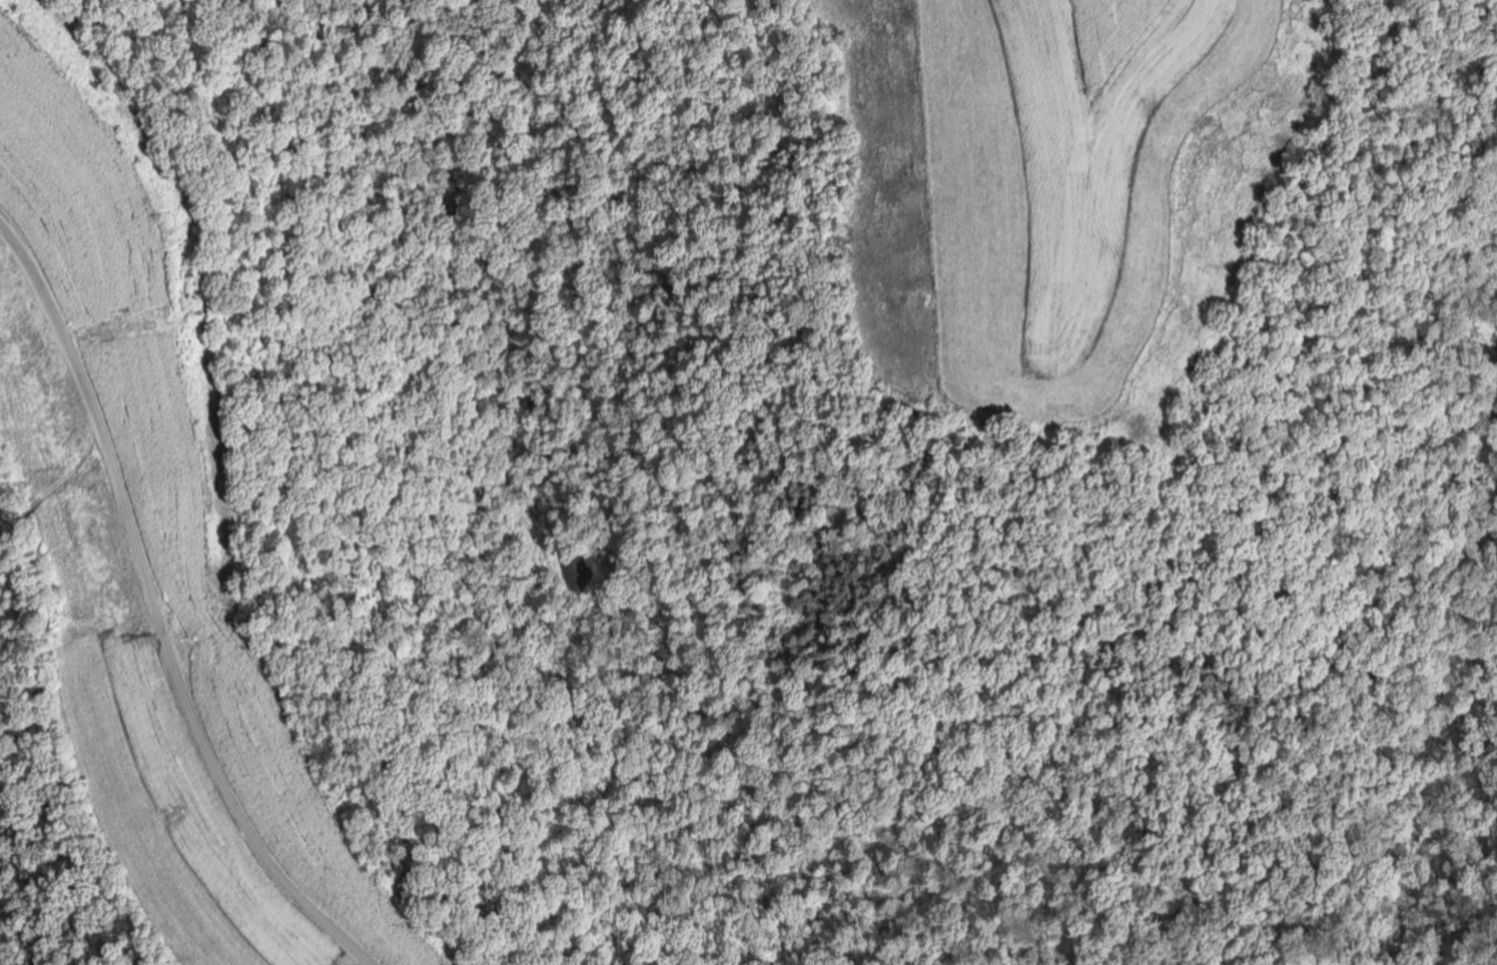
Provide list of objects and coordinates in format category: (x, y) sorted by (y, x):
road: (157, 611)

